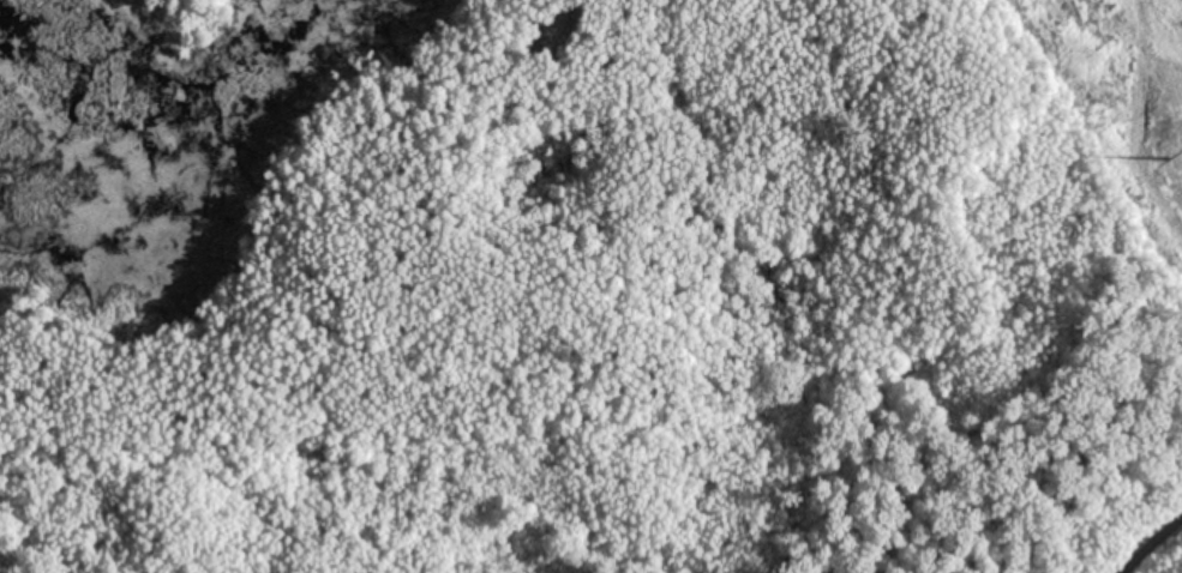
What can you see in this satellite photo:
power tower: (1168, 155)
road: (1152, 545)

